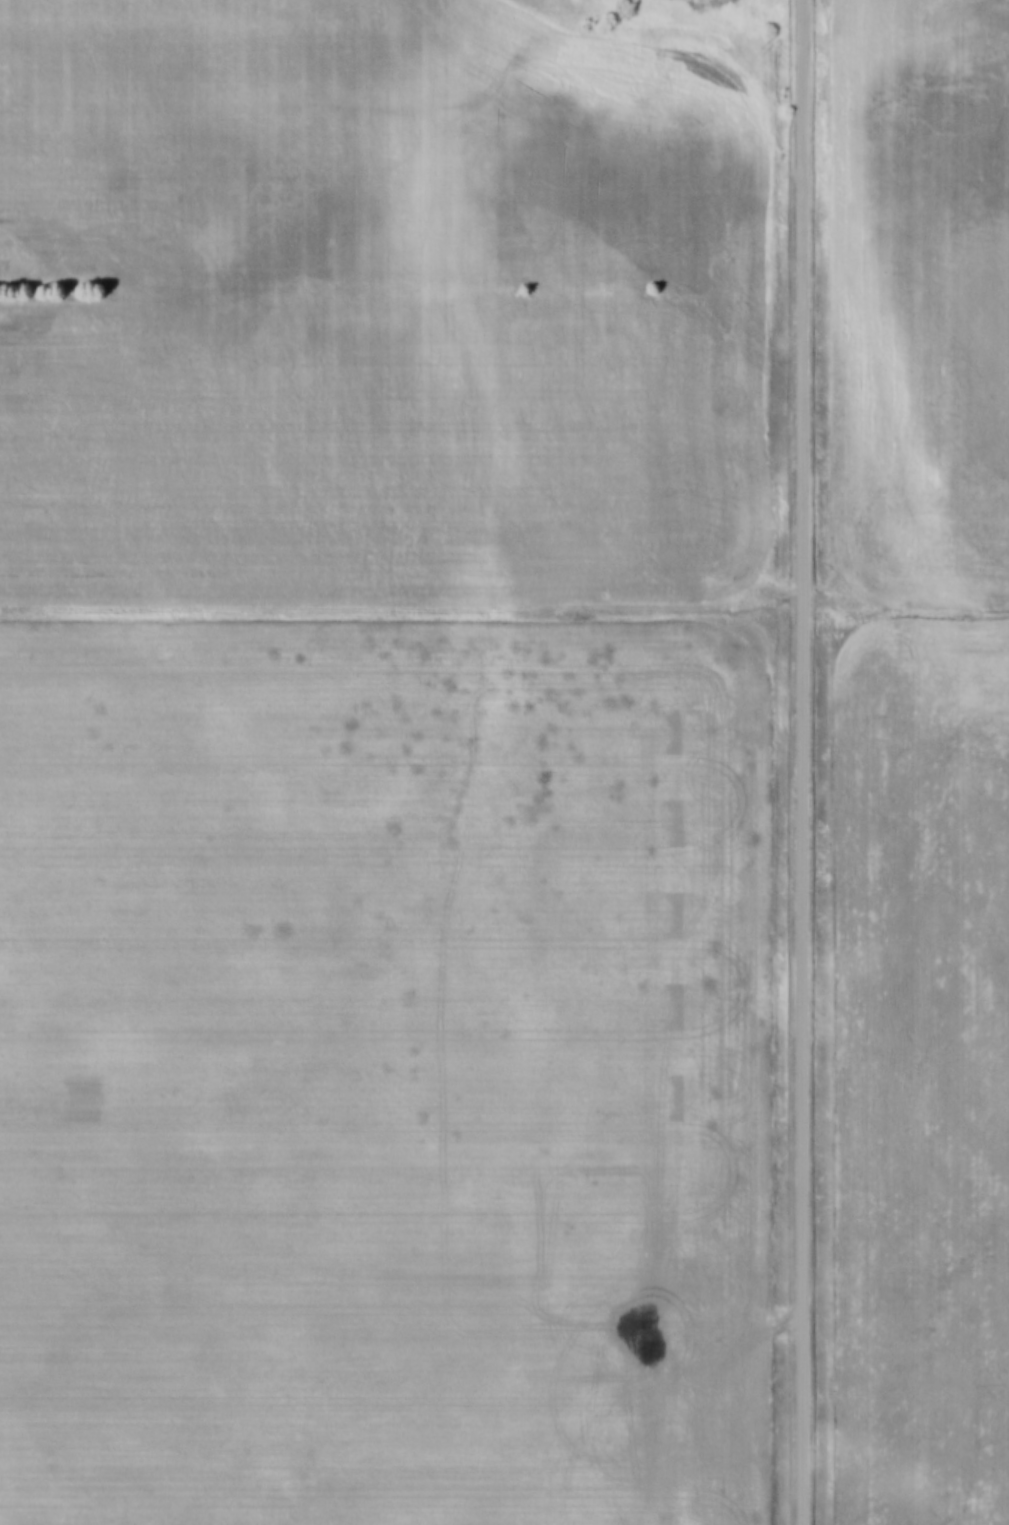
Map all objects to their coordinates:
road: (800, 762)

